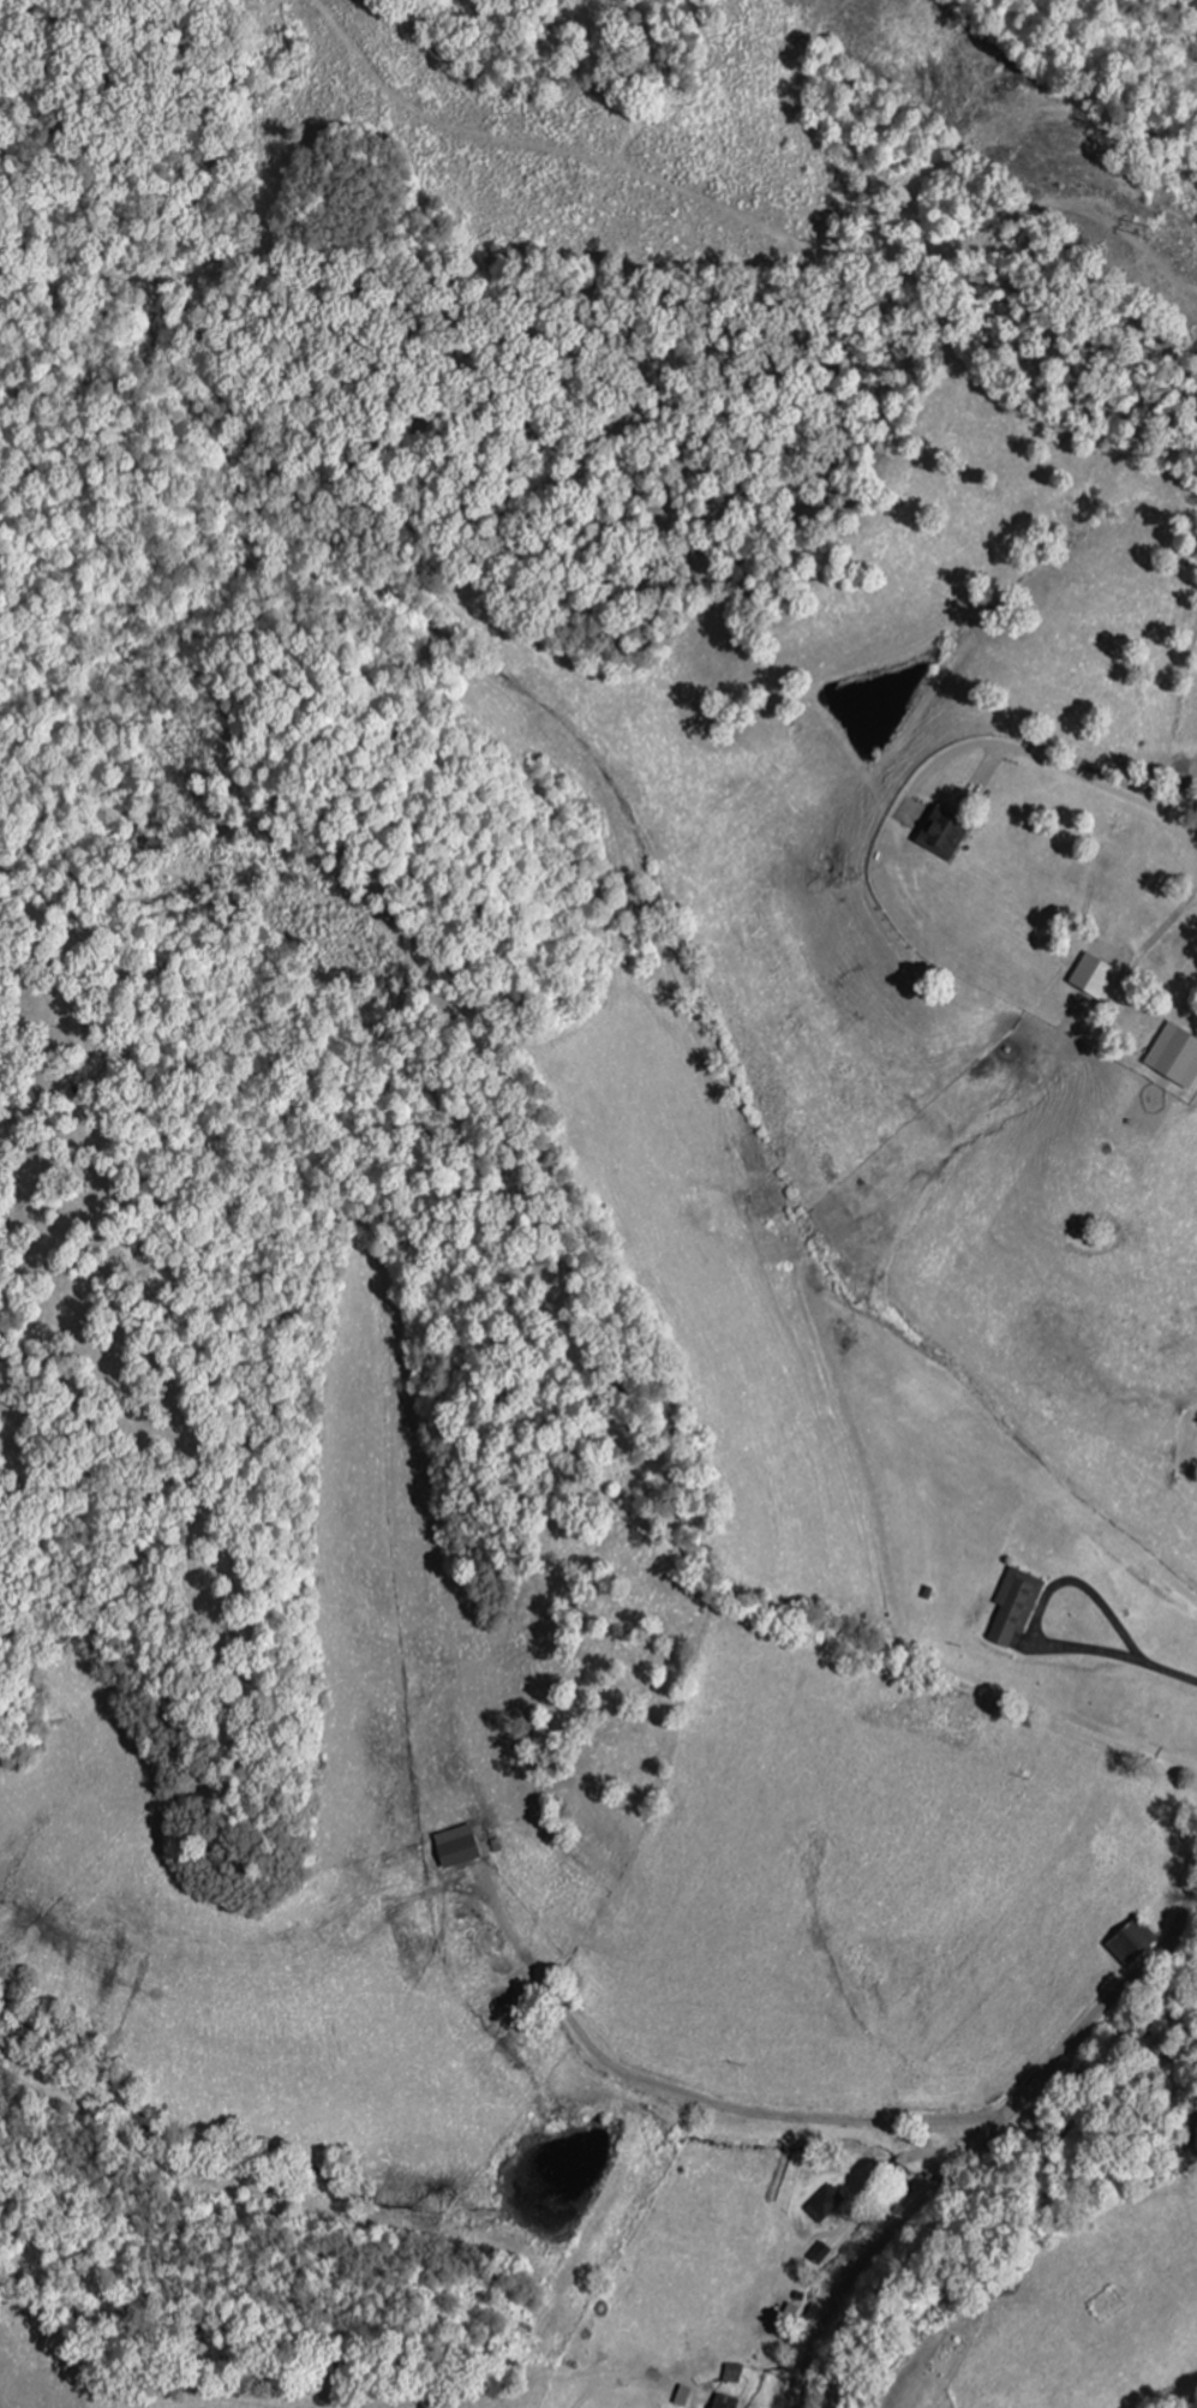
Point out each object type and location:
building: (941, 835)
building: (1091, 976)
building: (1174, 1057)
building: (1015, 1605)
building: (455, 1846)
building: (1130, 1942)
road: (1151, 1960)
road: (914, 2203)
building: (822, 2204)
building: (818, 2253)
building: (731, 2373)
building: (723, 2402)

